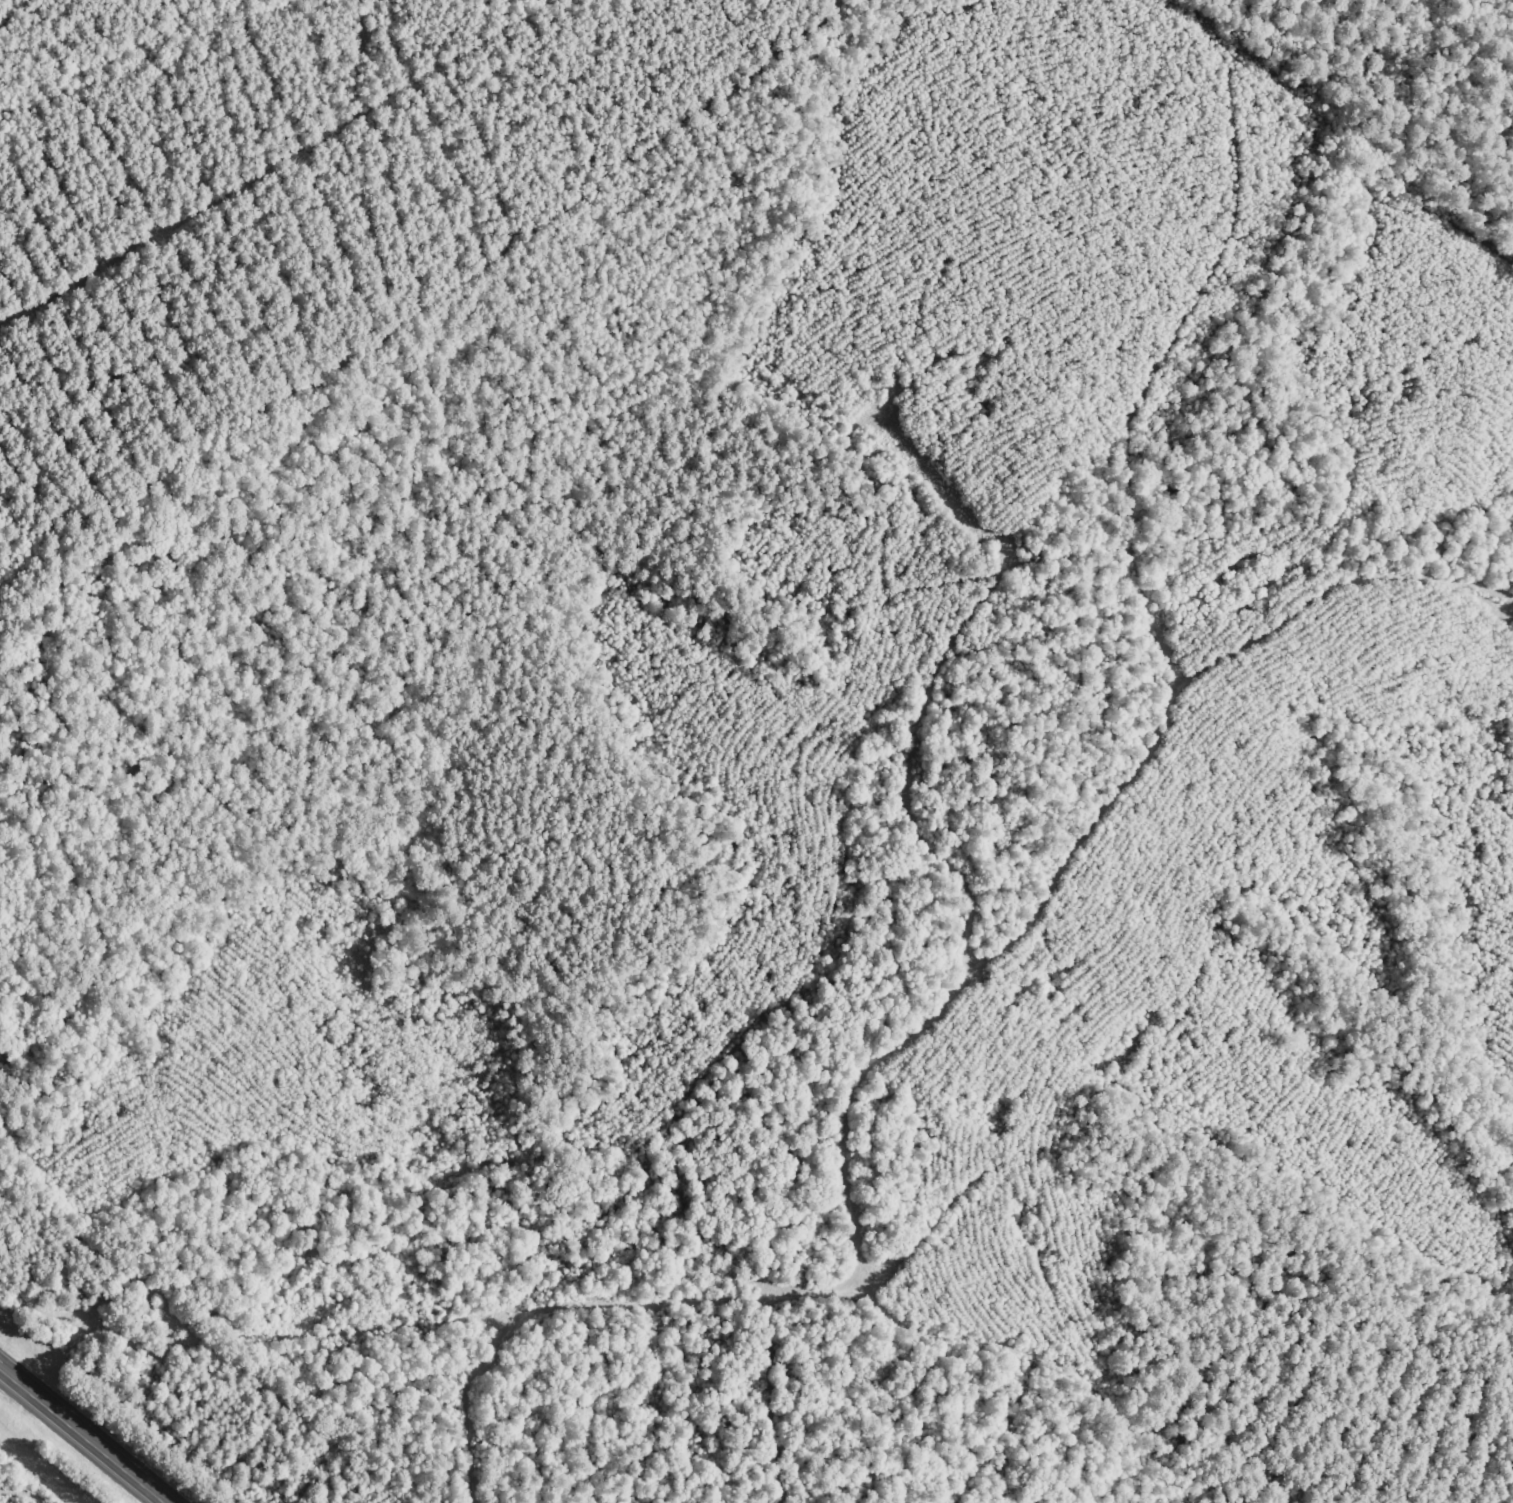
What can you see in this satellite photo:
road: (86, 1433)

